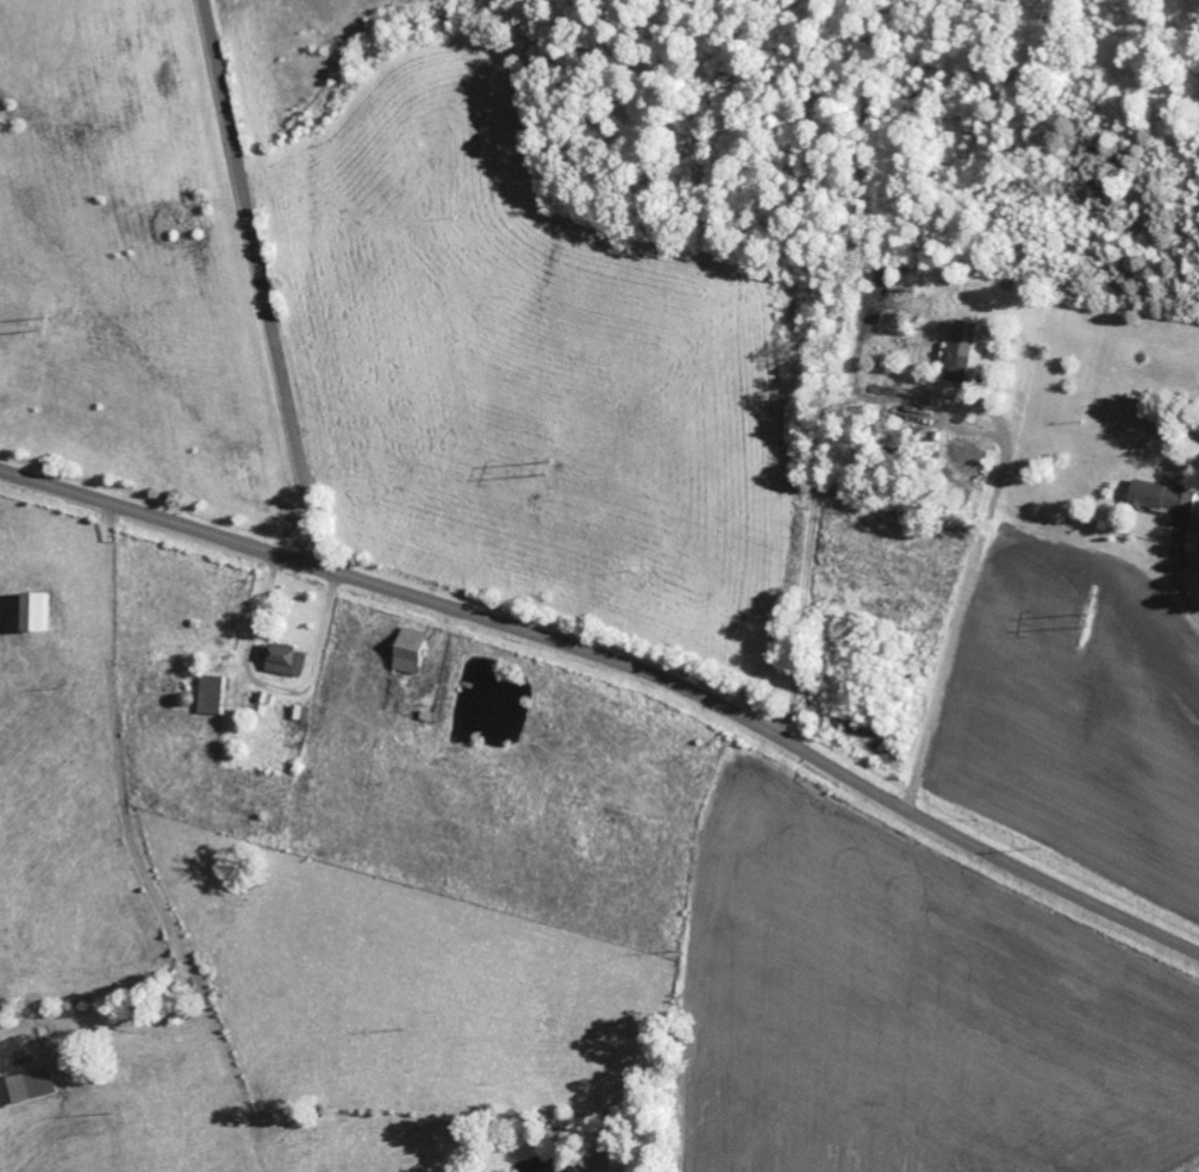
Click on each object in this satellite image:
road: (266, 282)
power tower: (42, 324)
building: (966, 353)
power tower: (549, 467)
building: (1164, 498)
road: (1057, 522)
building: (1193, 536)
building: (39, 613)
power tower: (1092, 621)
building: (413, 650)
building: (286, 661)
road: (619, 662)
building: (217, 696)
building: (29, 1085)

